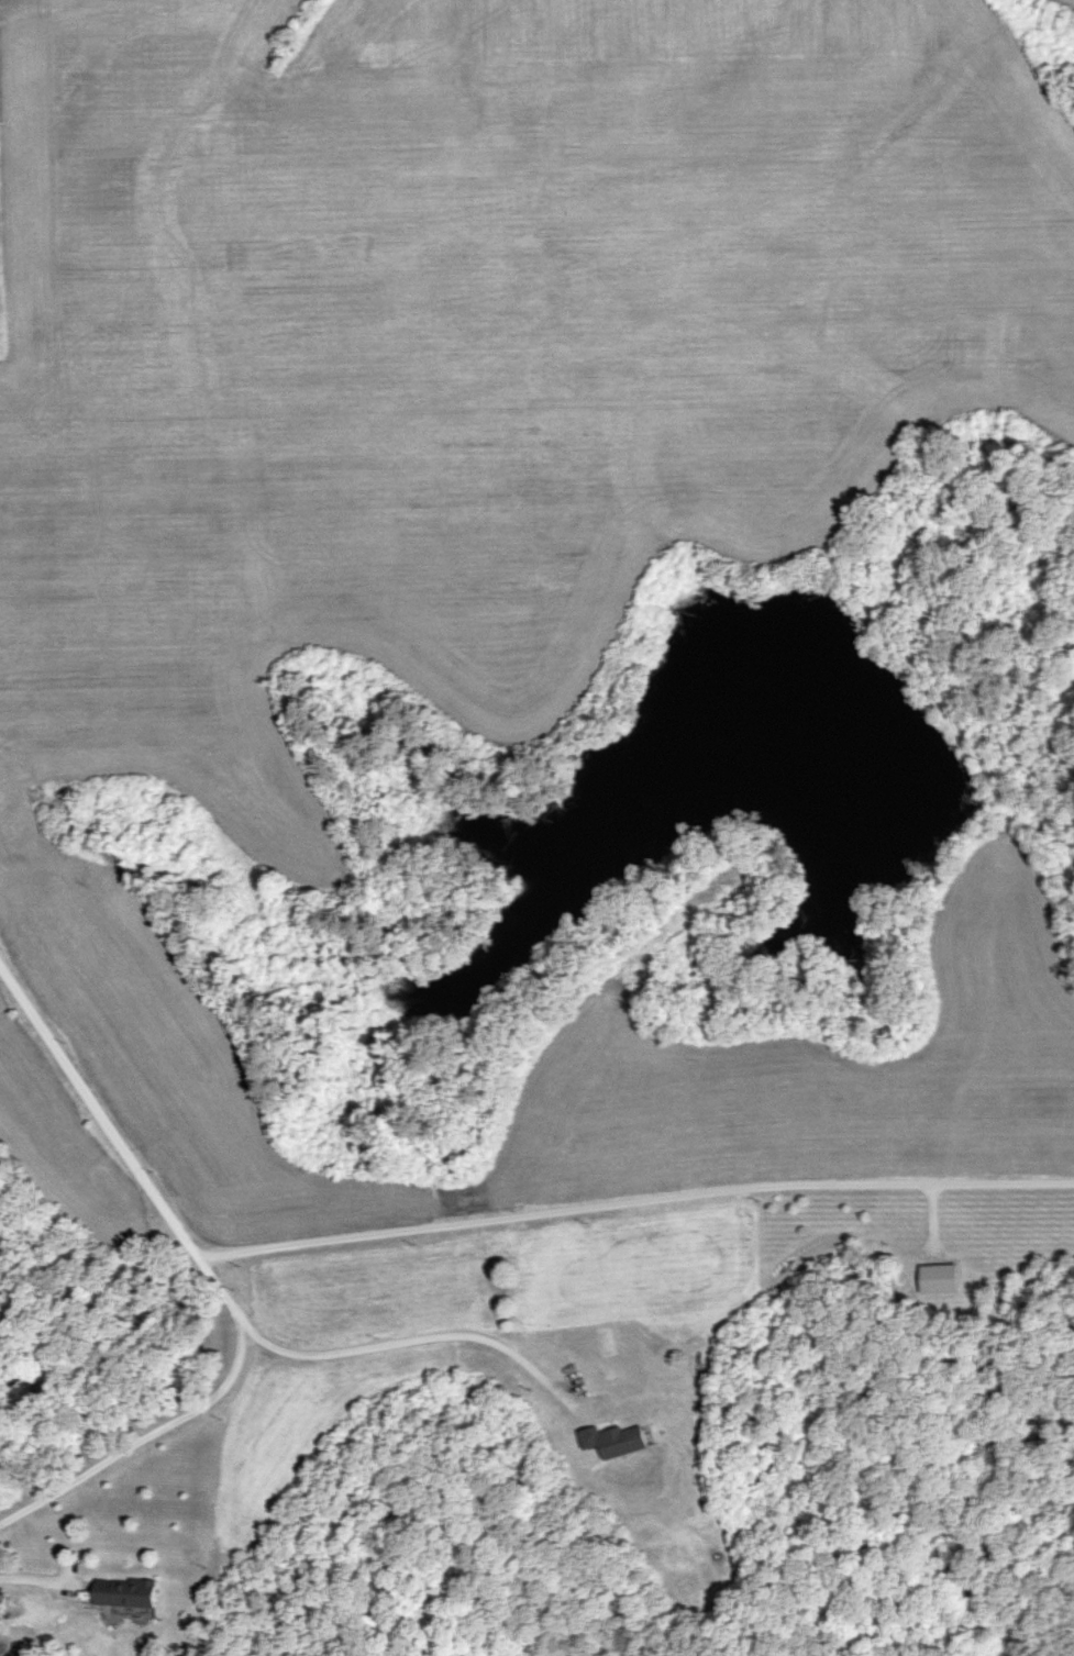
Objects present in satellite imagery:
road: (632, 1199)
building: (937, 1278)
road: (211, 1280)
road: (419, 1335)
building: (612, 1441)
road: (36, 1577)
building: (122, 1592)

